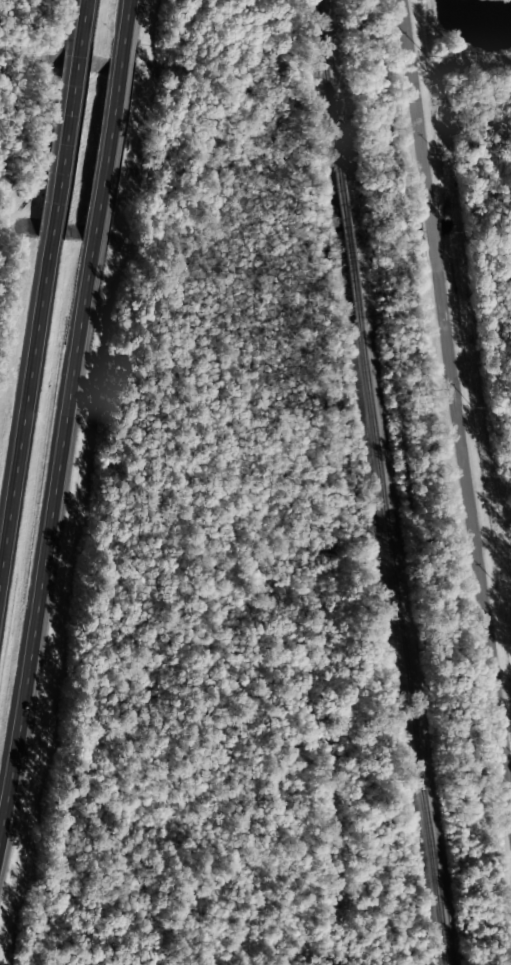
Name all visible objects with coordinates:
road: (84, 26)
road: (124, 31)
road: (65, 150)
road: (105, 160)
road: (457, 394)
road: (24, 408)
railway: (381, 482)
road: (46, 542)
road: (505, 693)

